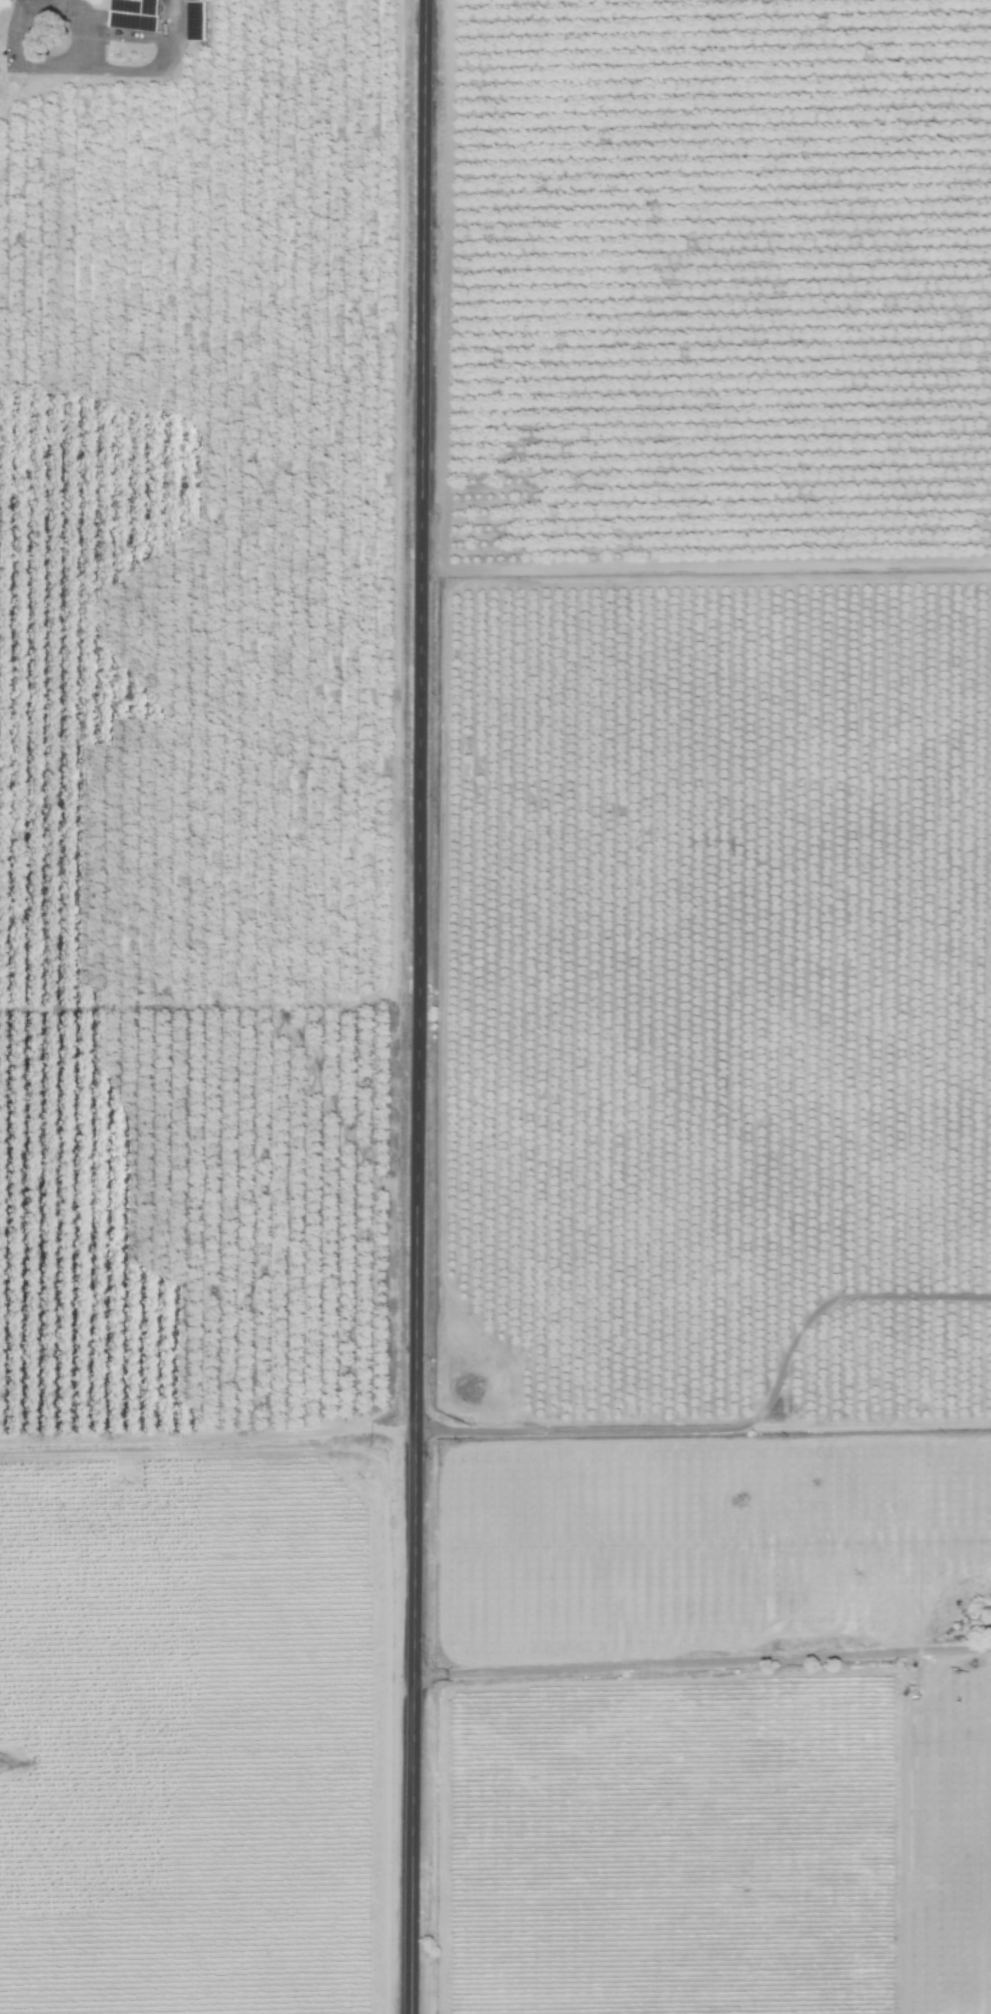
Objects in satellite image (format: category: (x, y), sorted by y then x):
building: (139, 14)
road: (14, 26)
road: (67, 40)
road: (119, 70)
road: (190, 365)
road: (398, 872)
road: (422, 1007)
road: (975, 1280)
road: (739, 1425)
road: (211, 1438)
building: (819, 1575)
building: (987, 1615)
road: (704, 1660)
power tower: (8, 1768)
road: (899, 1825)

